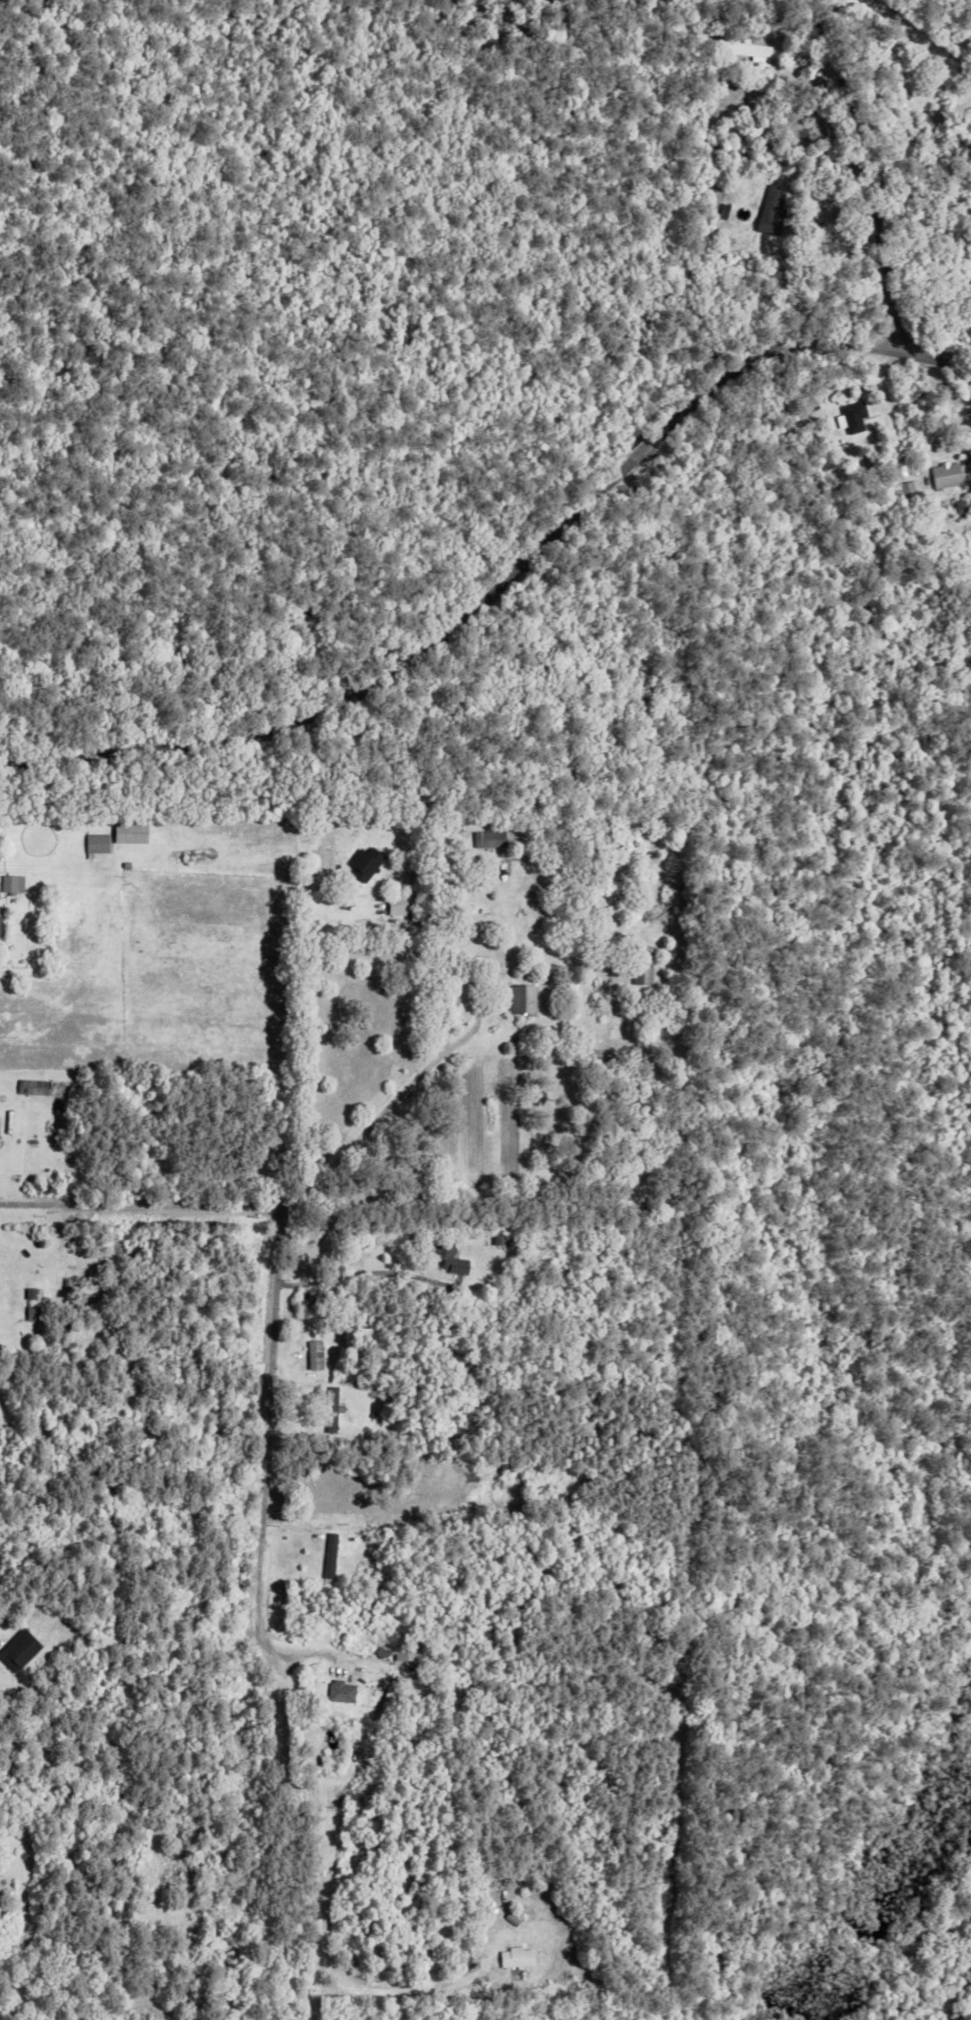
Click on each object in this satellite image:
building: (745, 46)
building: (911, 71)
road: (868, 171)
building: (721, 208)
building: (768, 209)
building: (840, 391)
building: (851, 417)
building: (943, 473)
building: (905, 491)
building: (954, 505)
road: (507, 582)
road: (319, 778)
building: (128, 830)
building: (486, 837)
building: (95, 842)
building: (323, 863)
building: (10, 882)
building: (448, 896)
building: (393, 903)
building: (0, 928)
building: (639, 964)
building: (520, 999)
road: (416, 1079)
building: (31, 1085)
building: (6, 1123)
road: (139, 1206)
building: (444, 1255)
building: (29, 1292)
building: (304, 1301)
building: (312, 1354)
building: (330, 1409)
road: (269, 1414)
building: (331, 1480)
building: (347, 1560)
building: (444, 1642)
building: (21, 1650)
building: (381, 1650)
building: (407, 1652)
road: (284, 1653)
building: (332, 1692)
building: (489, 1695)
building: (384, 1701)
building: (484, 1717)
road: (322, 1879)
building: (512, 1953)

